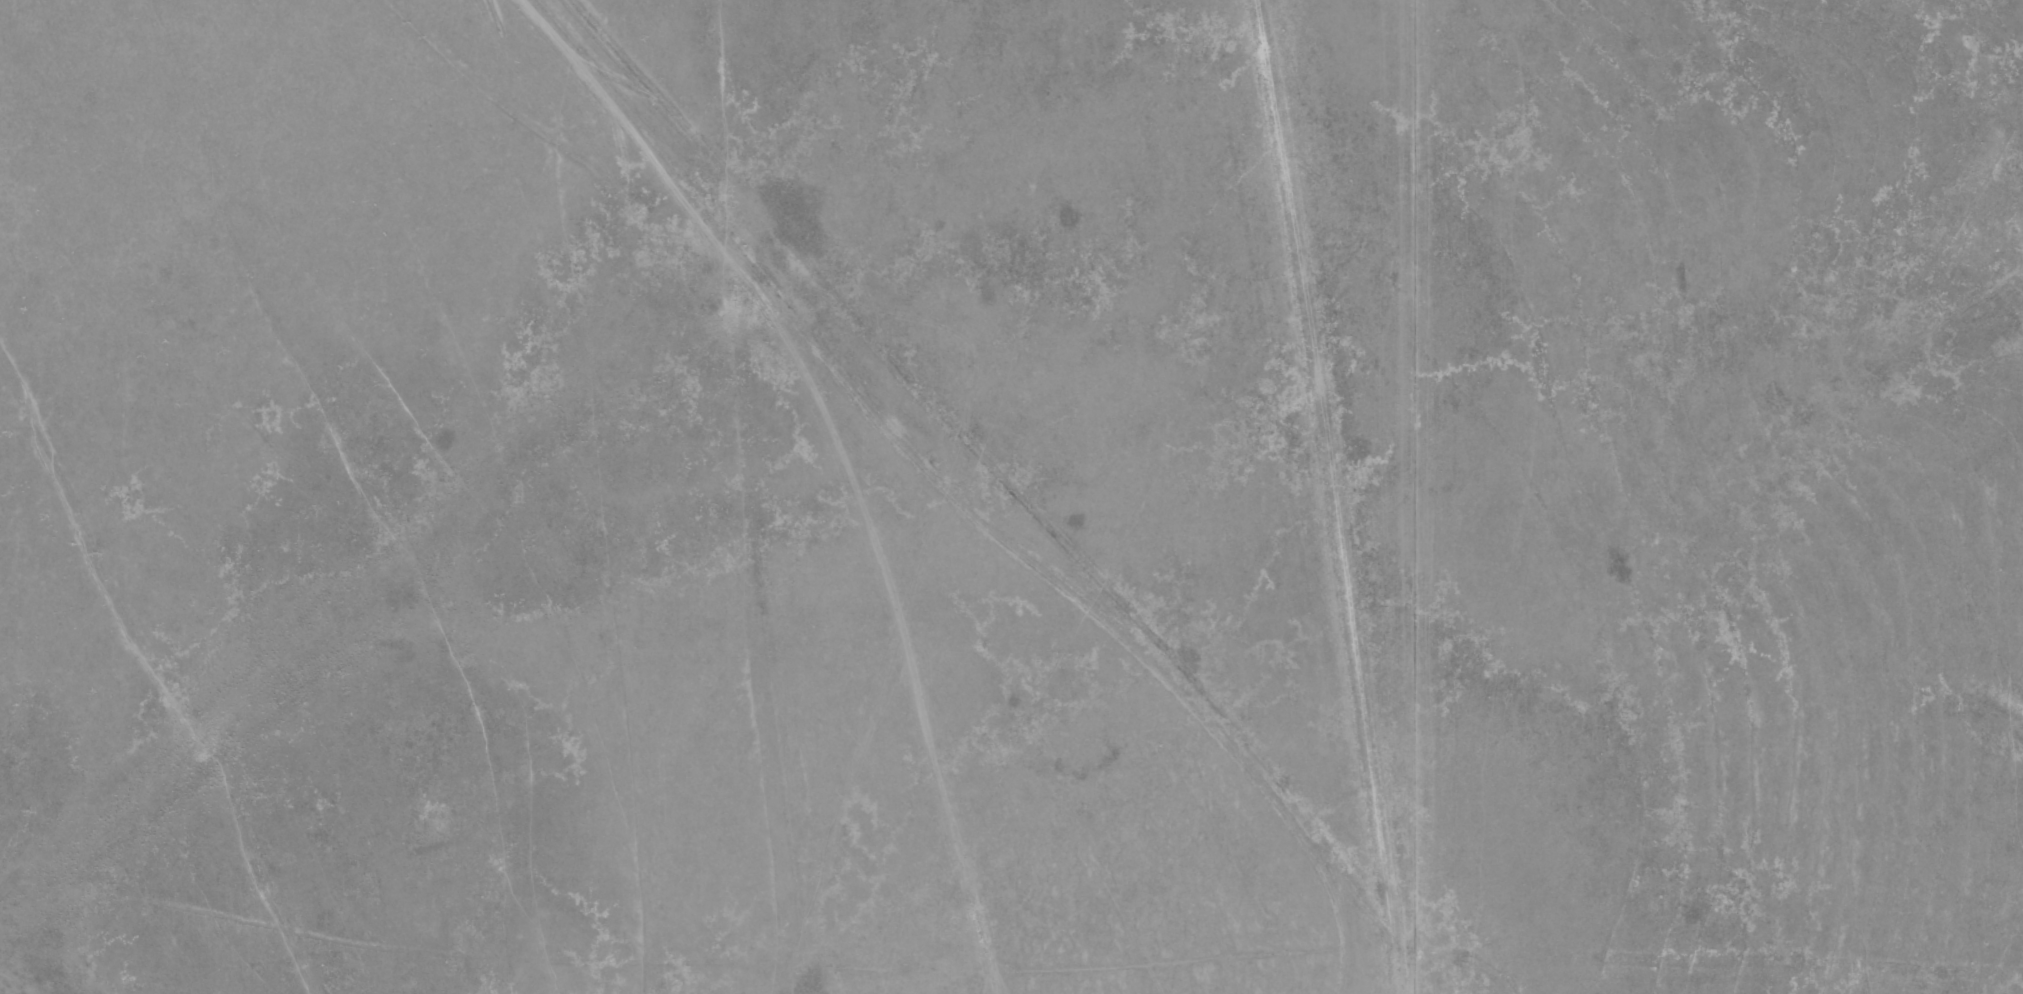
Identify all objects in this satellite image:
road: (1277, 498)
road: (974, 528)

